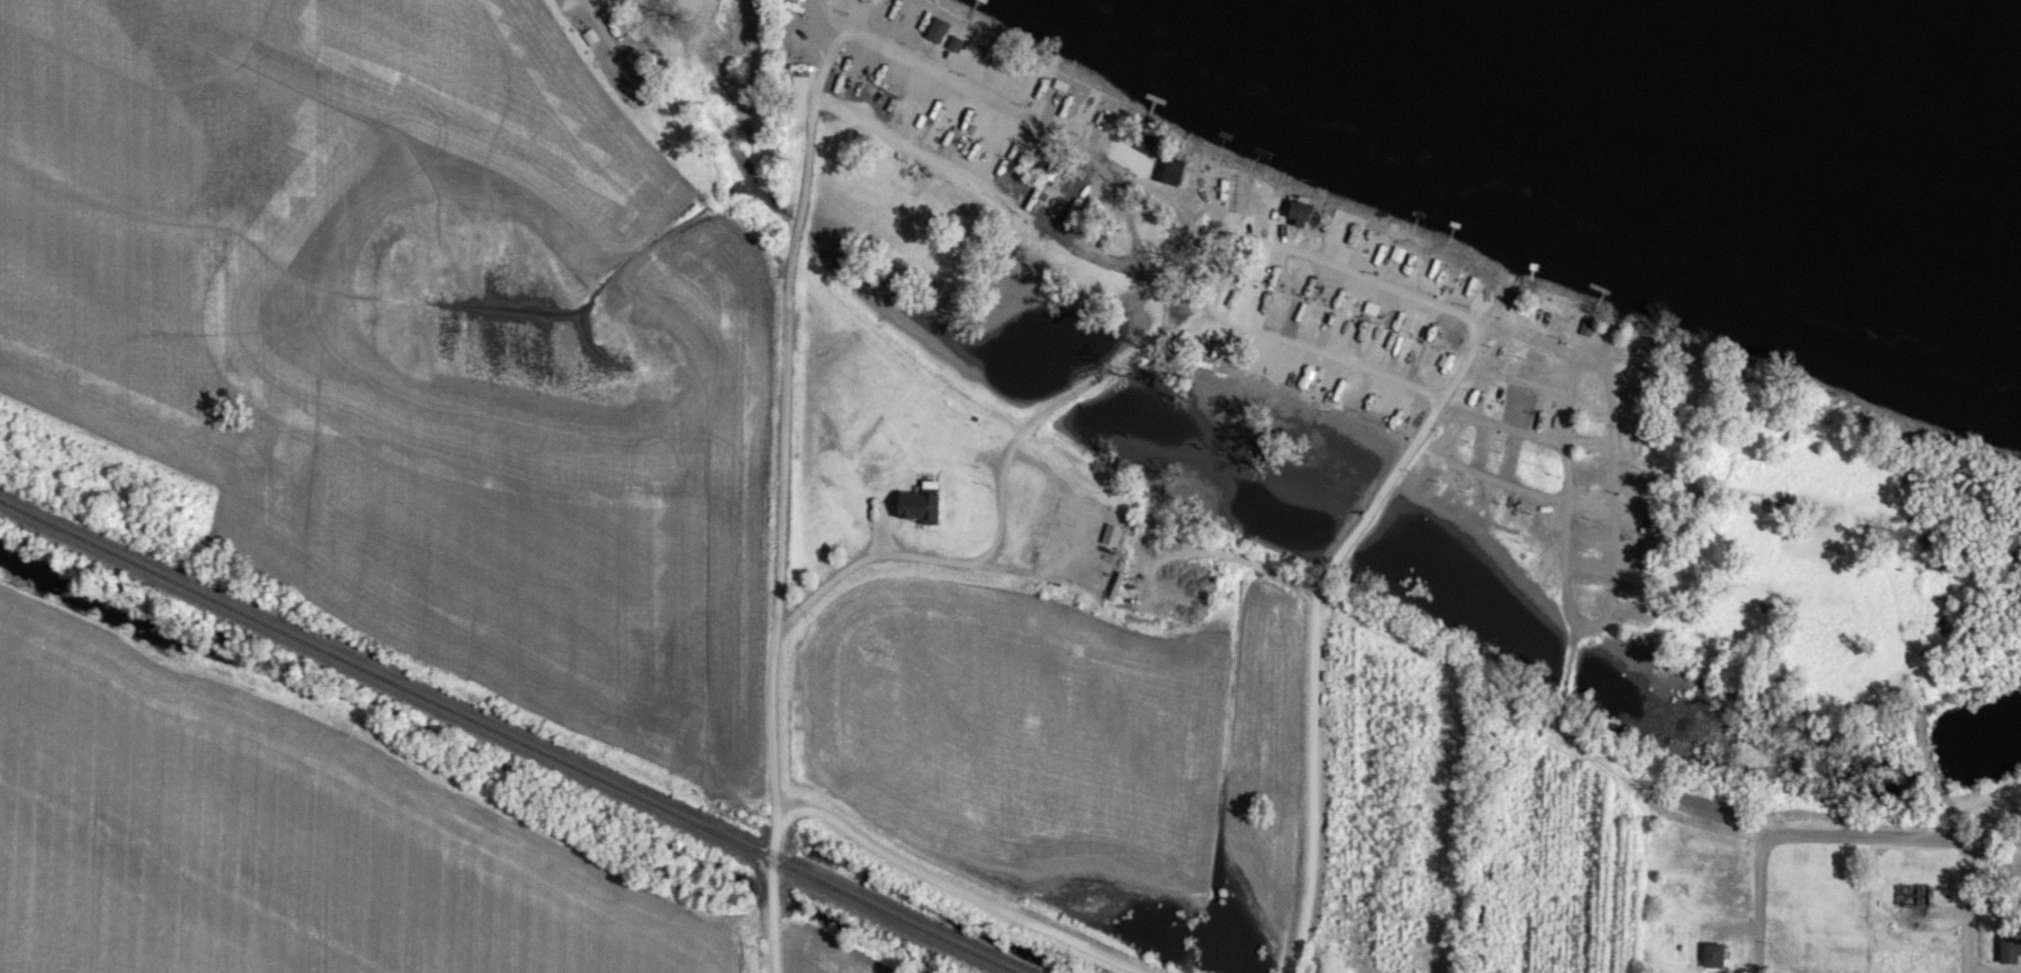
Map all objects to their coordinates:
road: (610, 45)
road: (1044, 127)
road: (790, 326)
road: (1318, 354)
road: (1565, 398)
road: (1504, 430)
road: (1004, 452)
road: (1084, 546)
road: (1616, 597)
road: (1316, 623)
railway: (508, 736)
road: (1896, 837)
road: (956, 893)
road: (1757, 900)
road: (1966, 906)

